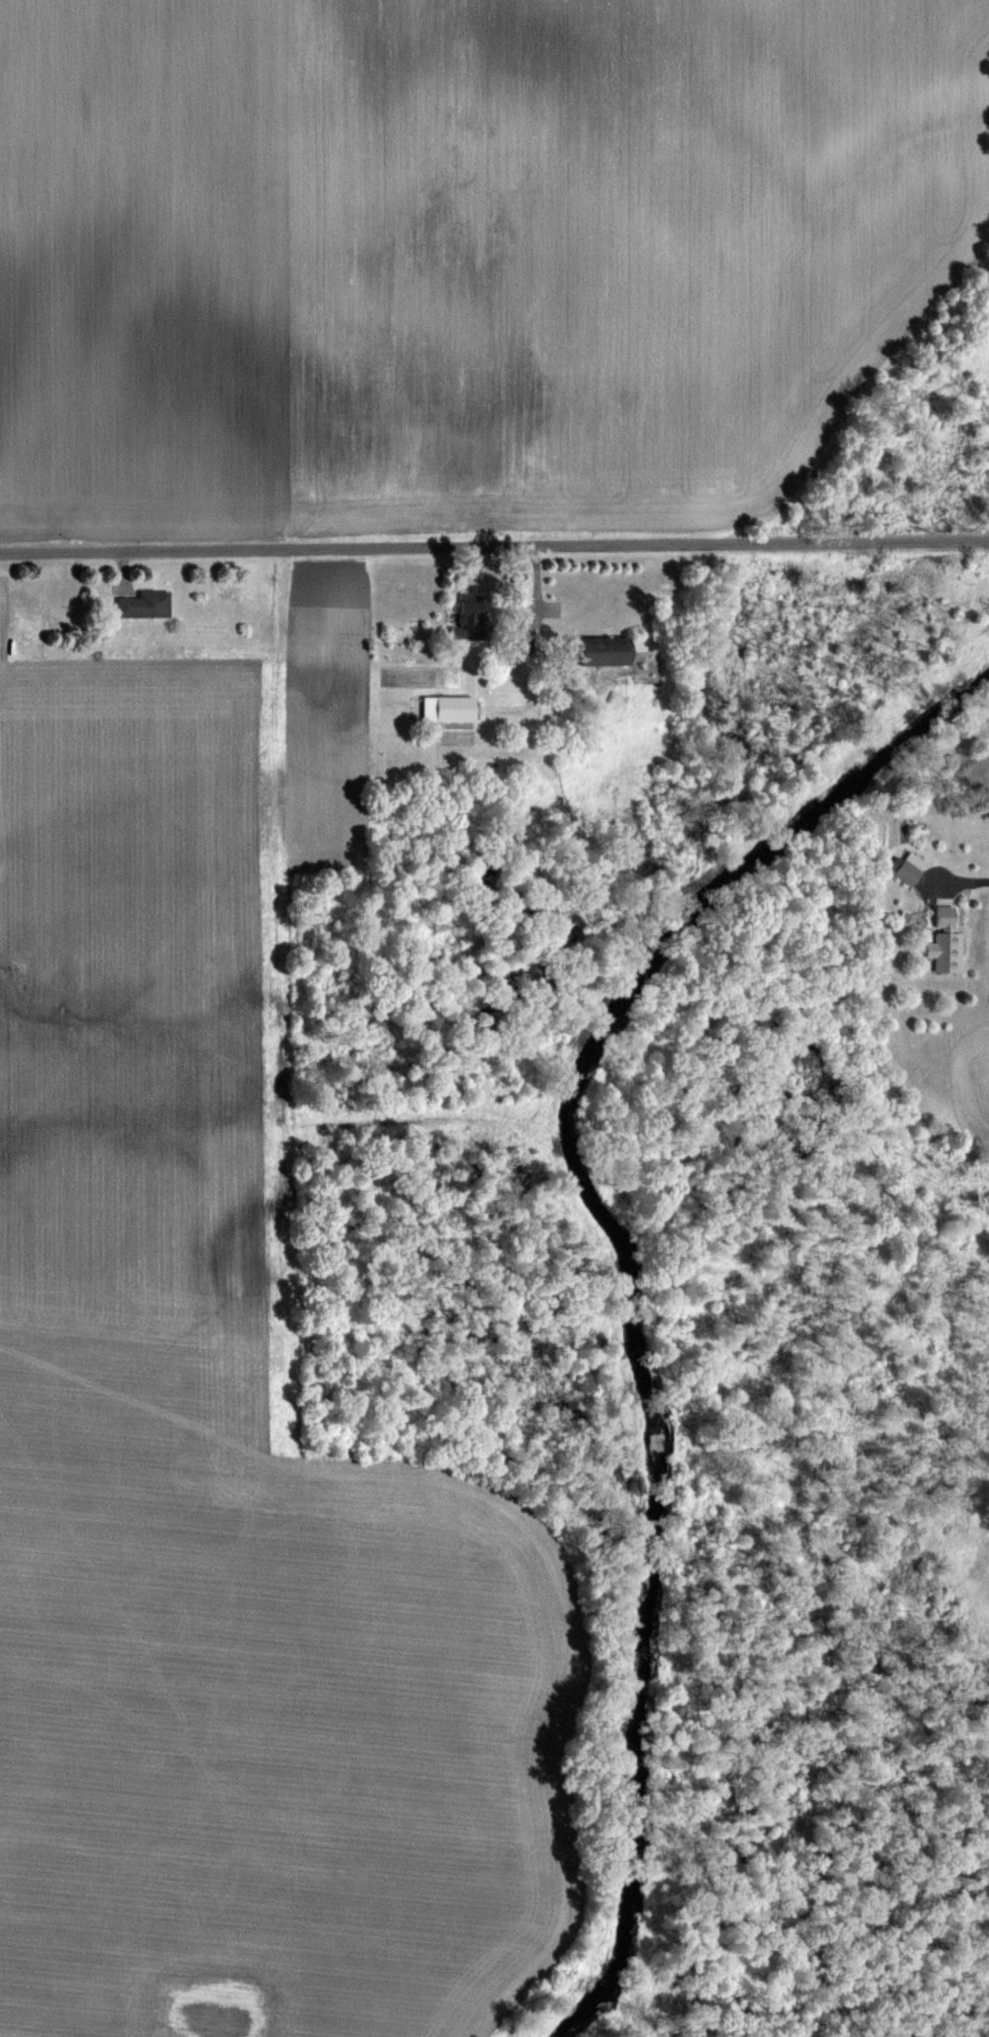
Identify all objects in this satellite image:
road: (494, 544)
building: (141, 603)
building: (903, 871)
road: (964, 877)
building: (946, 941)

